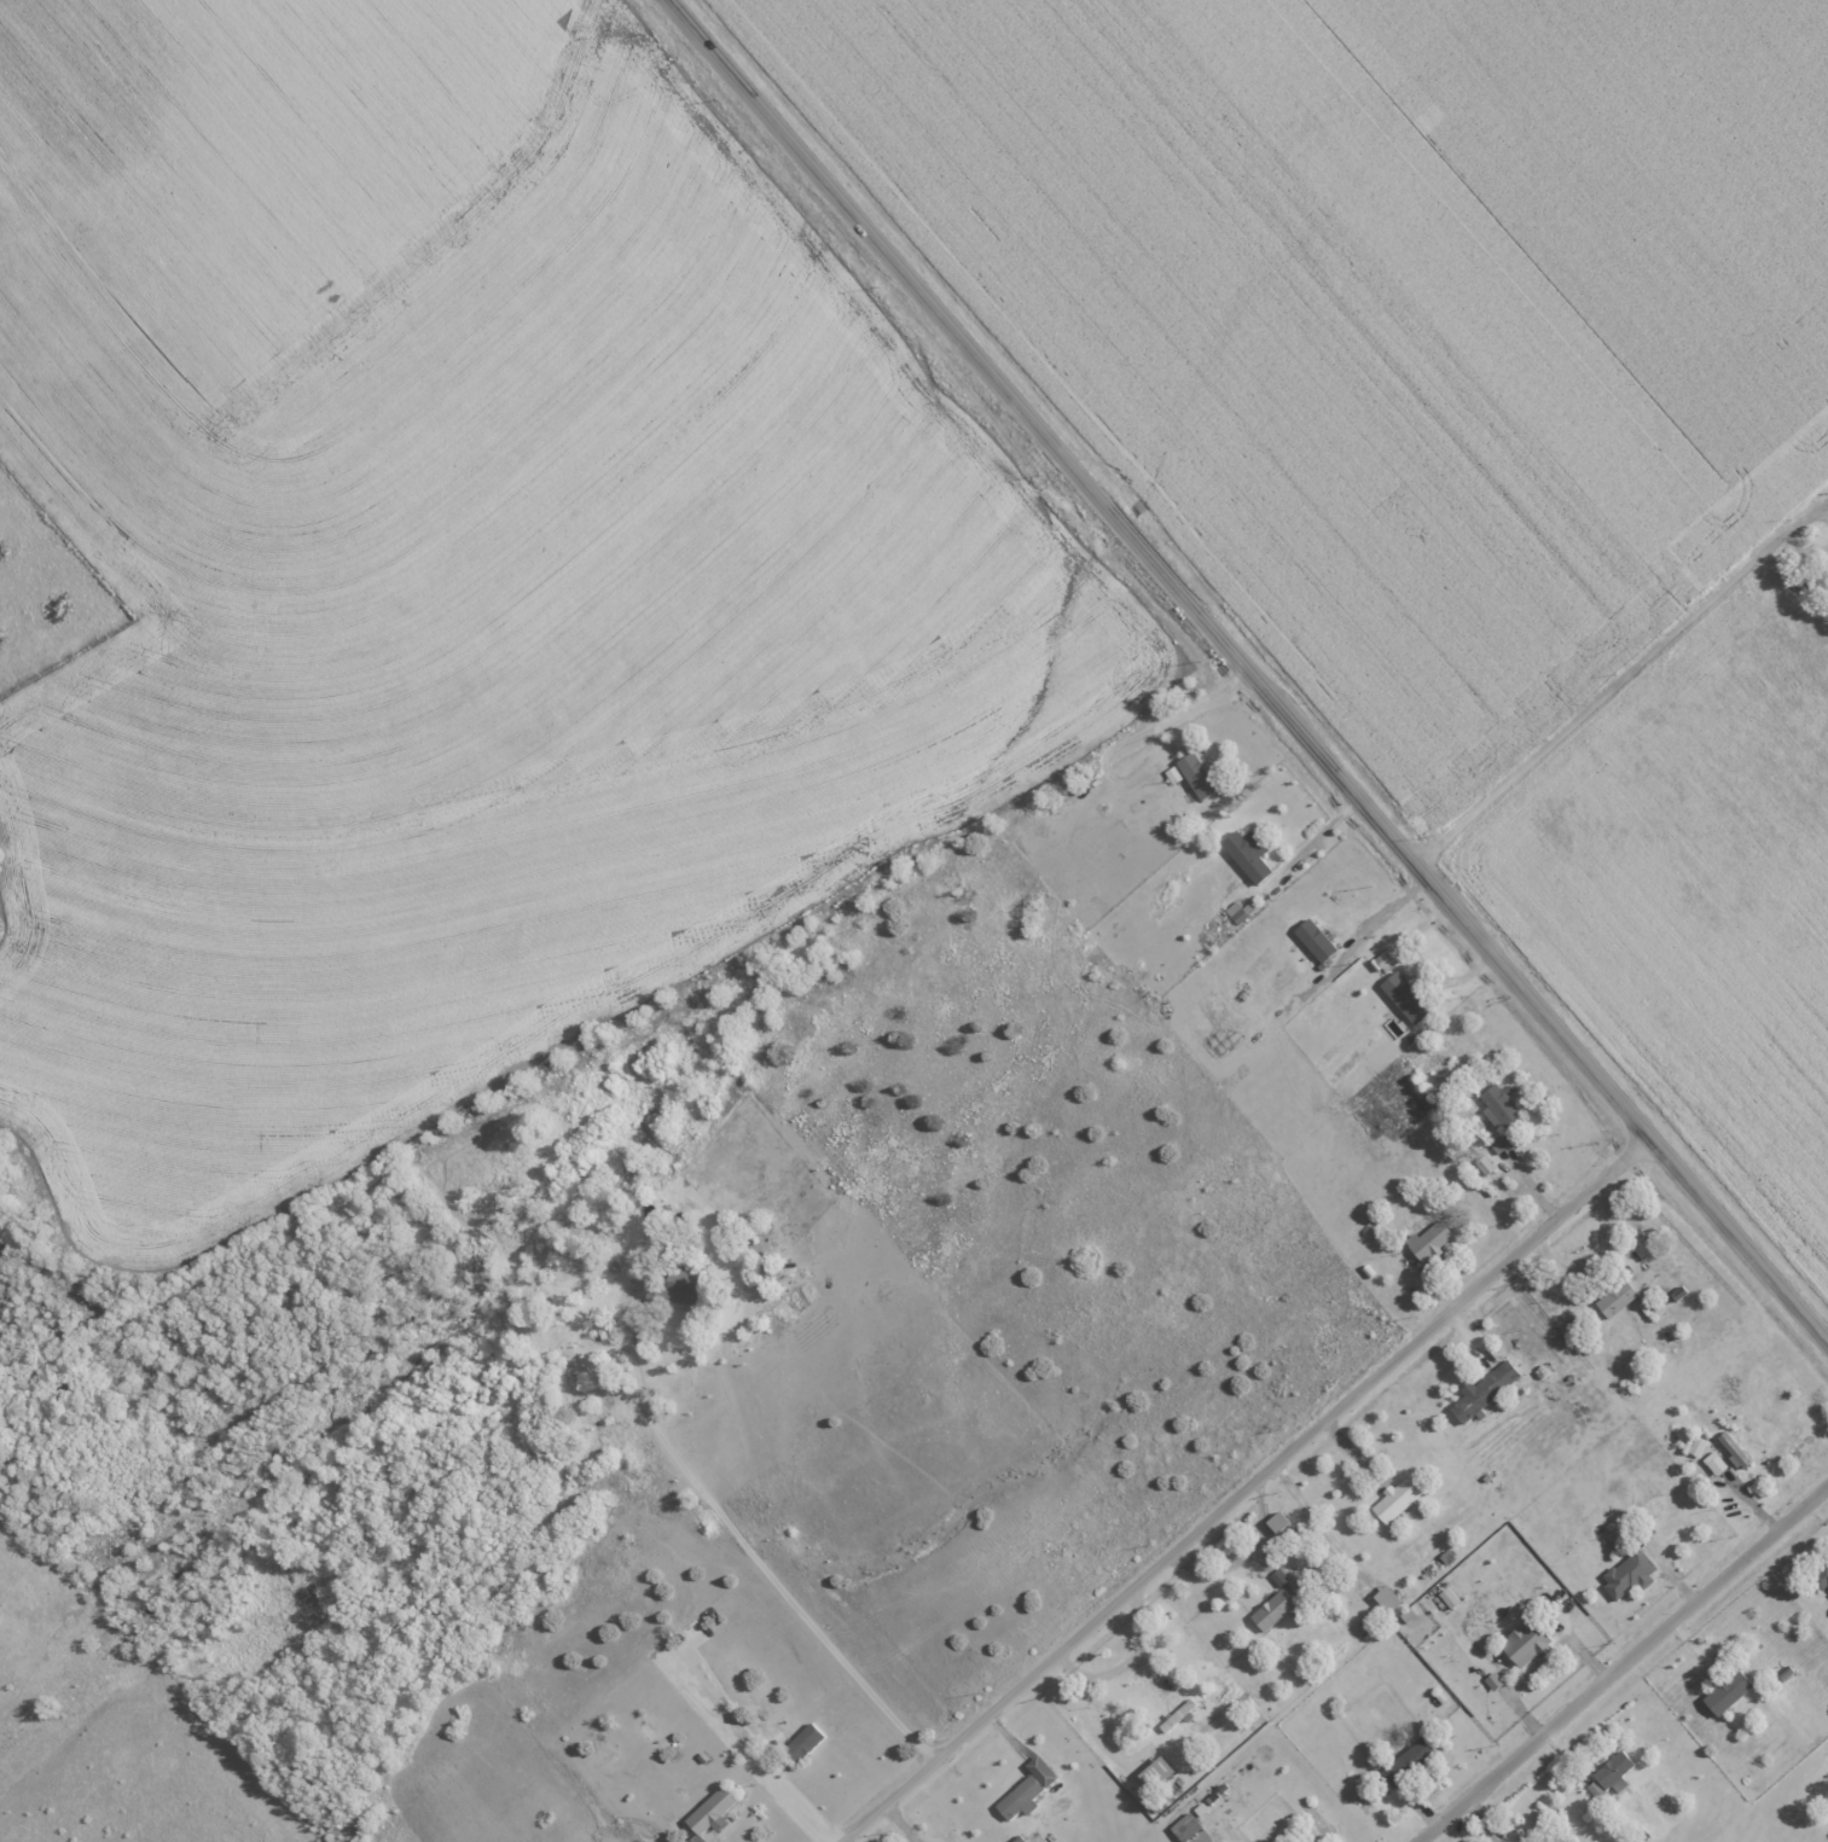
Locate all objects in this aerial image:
road: (1248, 670)
road: (1618, 684)
road: (1188, 709)
building: (1172, 774)
building: (1195, 775)
building: (1246, 854)
road: (1379, 918)
building: (1313, 940)
building: (1382, 959)
building: (1404, 998)
building: (1496, 1104)
building: (1498, 1143)
building: (1482, 1164)
building: (1427, 1242)
building: (675, 1286)
building: (1615, 1298)
building: (1482, 1390)
building: (1695, 1446)
building: (1731, 1449)
building: (1713, 1463)
road: (1244, 1491)
building: (1394, 1499)
building: (1275, 1522)
road: (755, 1556)
building: (1627, 1573)
building: (1824, 1579)
building: (1446, 1597)
building: (1386, 1598)
building: (1271, 1609)
building: (1405, 1615)
building: (1366, 1622)
building: (1526, 1643)
road: (1623, 1662)
building: (1727, 1692)
building: (802, 1741)
building: (1406, 1762)
building: (1039, 1771)
building: (1154, 1772)
building: (1609, 1774)
road: (767, 1779)
building: (1019, 1799)
building: (708, 1811)
building: (1184, 1828)
building: (1311, 1840)

